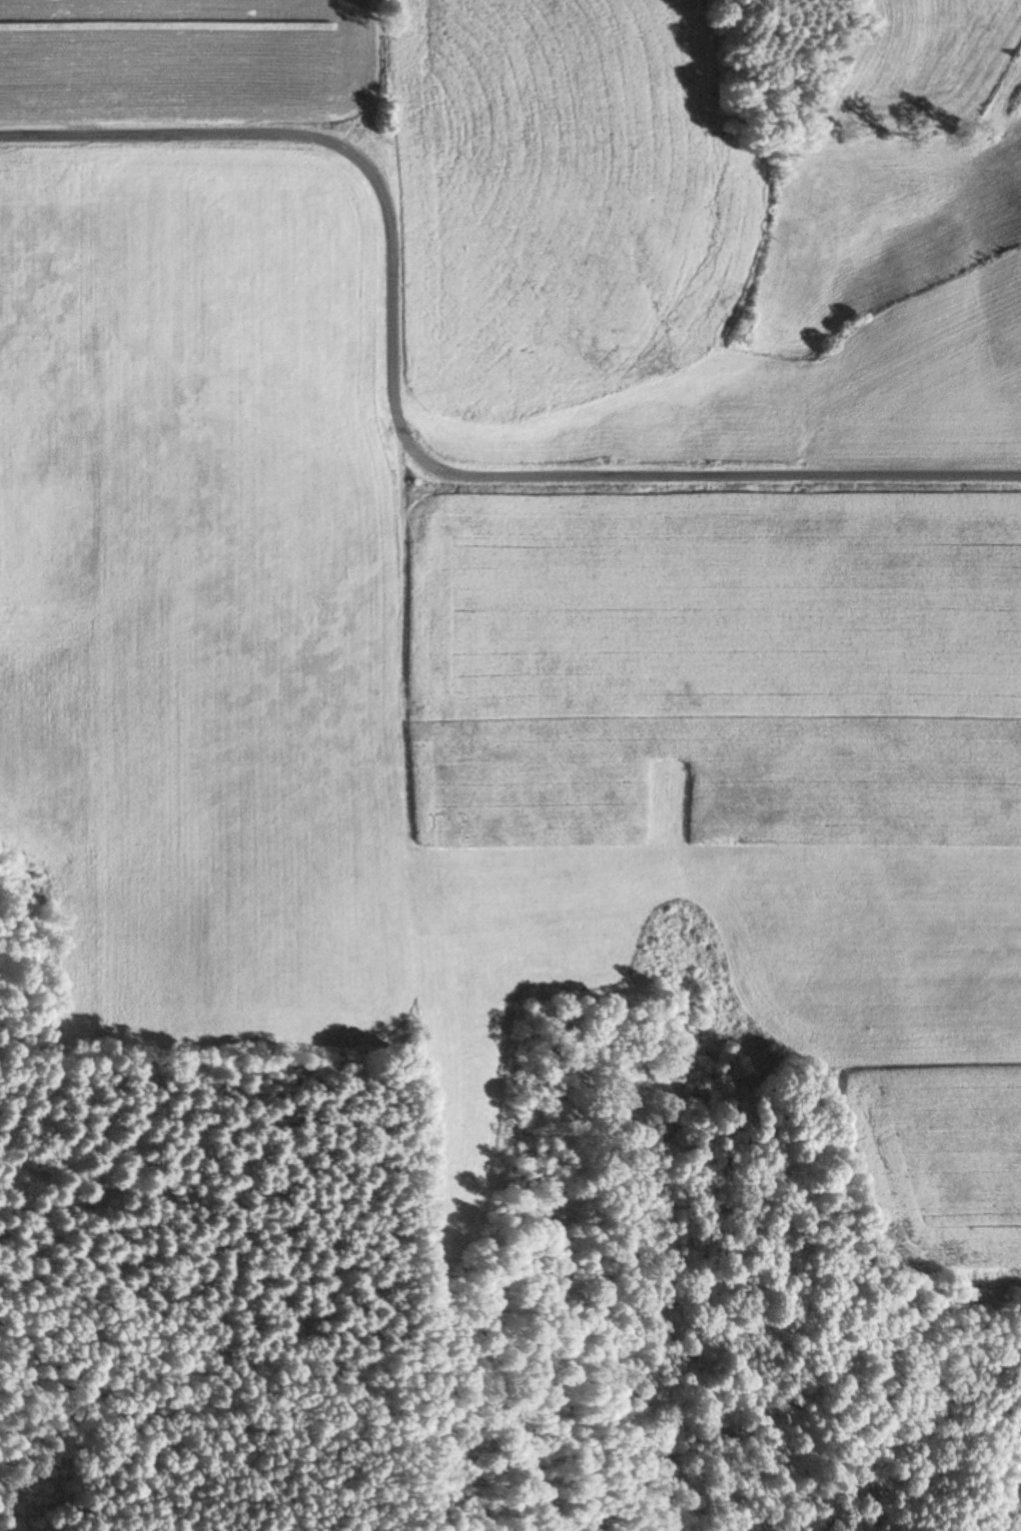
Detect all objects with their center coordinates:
road: (395, 428)

